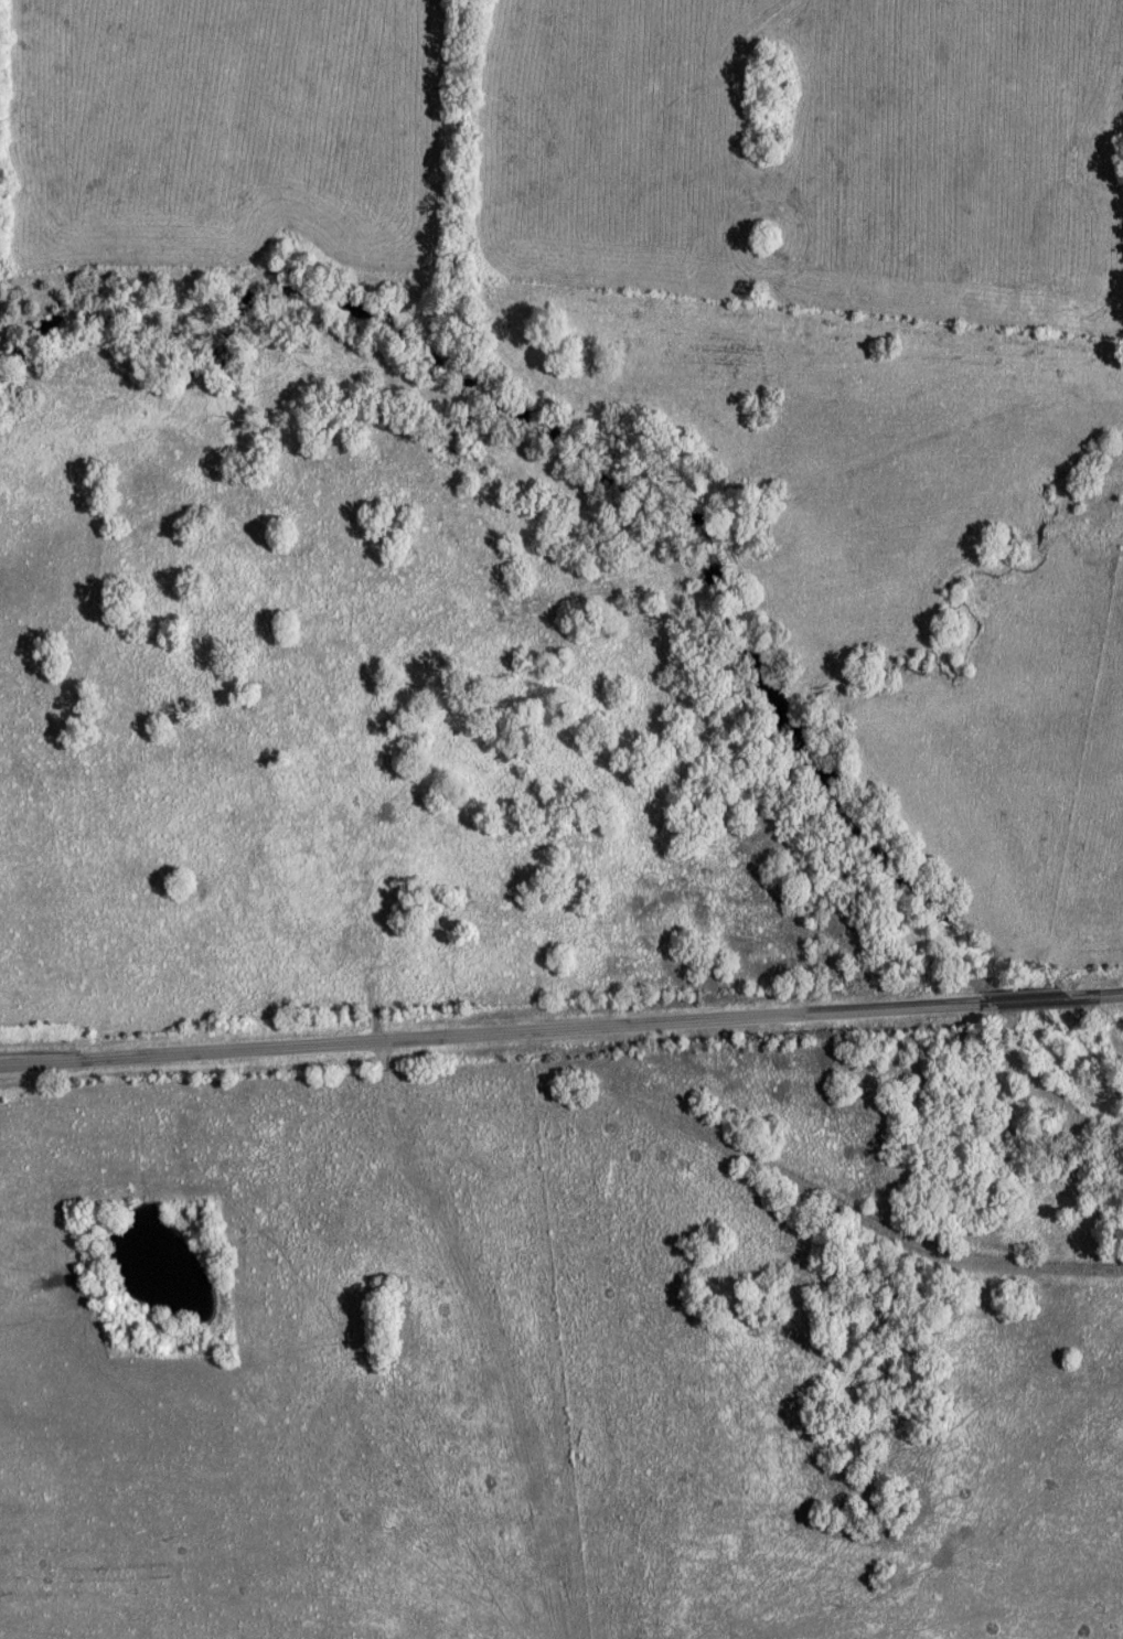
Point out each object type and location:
road: (560, 1025)

